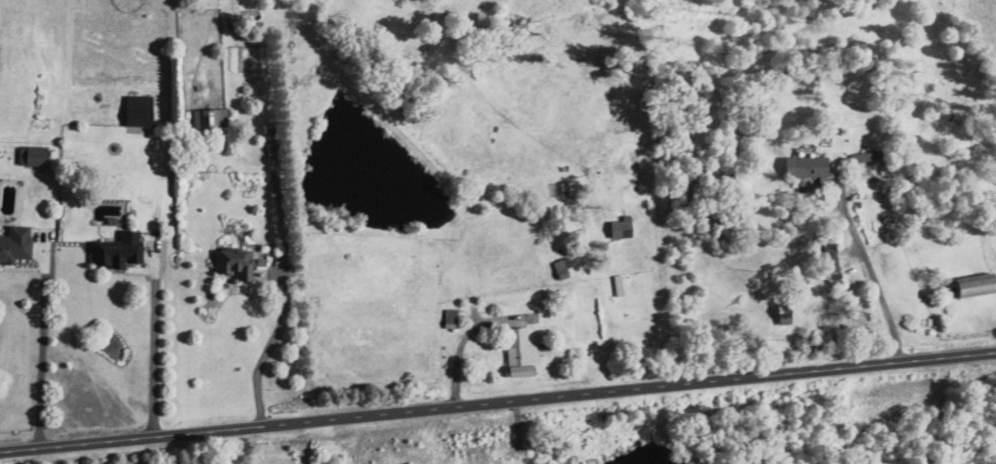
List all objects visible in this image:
building: (136, 110)
building: (207, 117)
building: (30, 155)
building: (805, 167)
building: (618, 227)
building: (13, 243)
building: (115, 250)
building: (231, 262)
building: (829, 262)
building: (559, 267)
road: (871, 273)
building: (972, 285)
building: (781, 314)
building: (908, 321)
road: (154, 350)
road: (267, 350)
building: (517, 353)
road: (41, 356)
road: (457, 359)
road: (497, 403)

